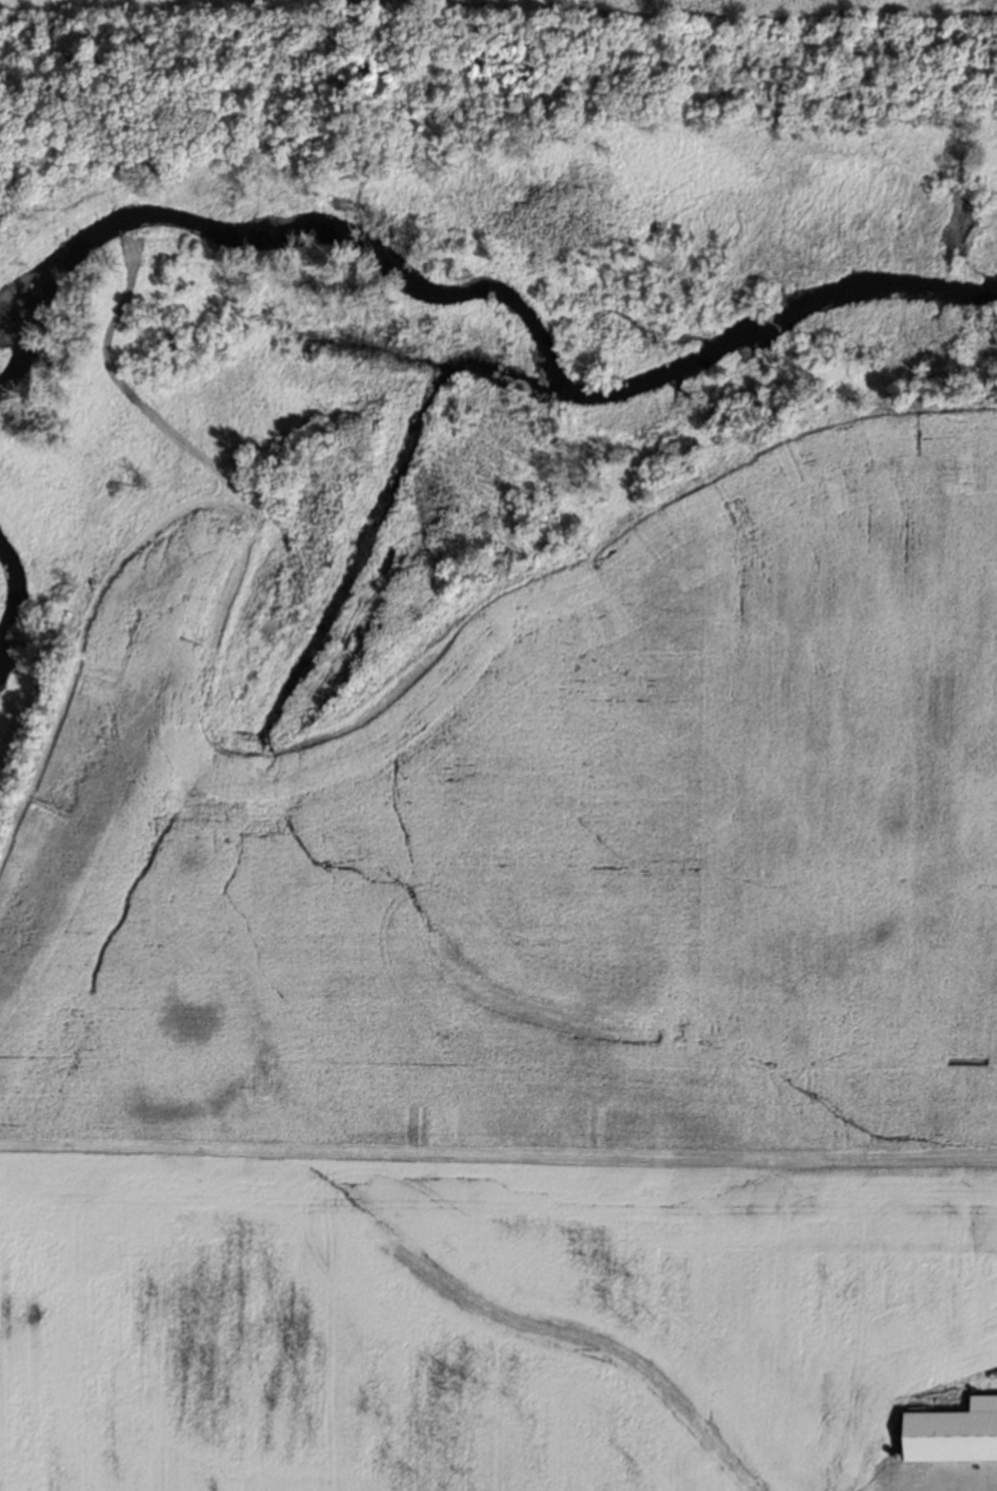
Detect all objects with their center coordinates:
river: (457, 291)
river: (1, 634)
building: (982, 1401)
building: (948, 1435)

